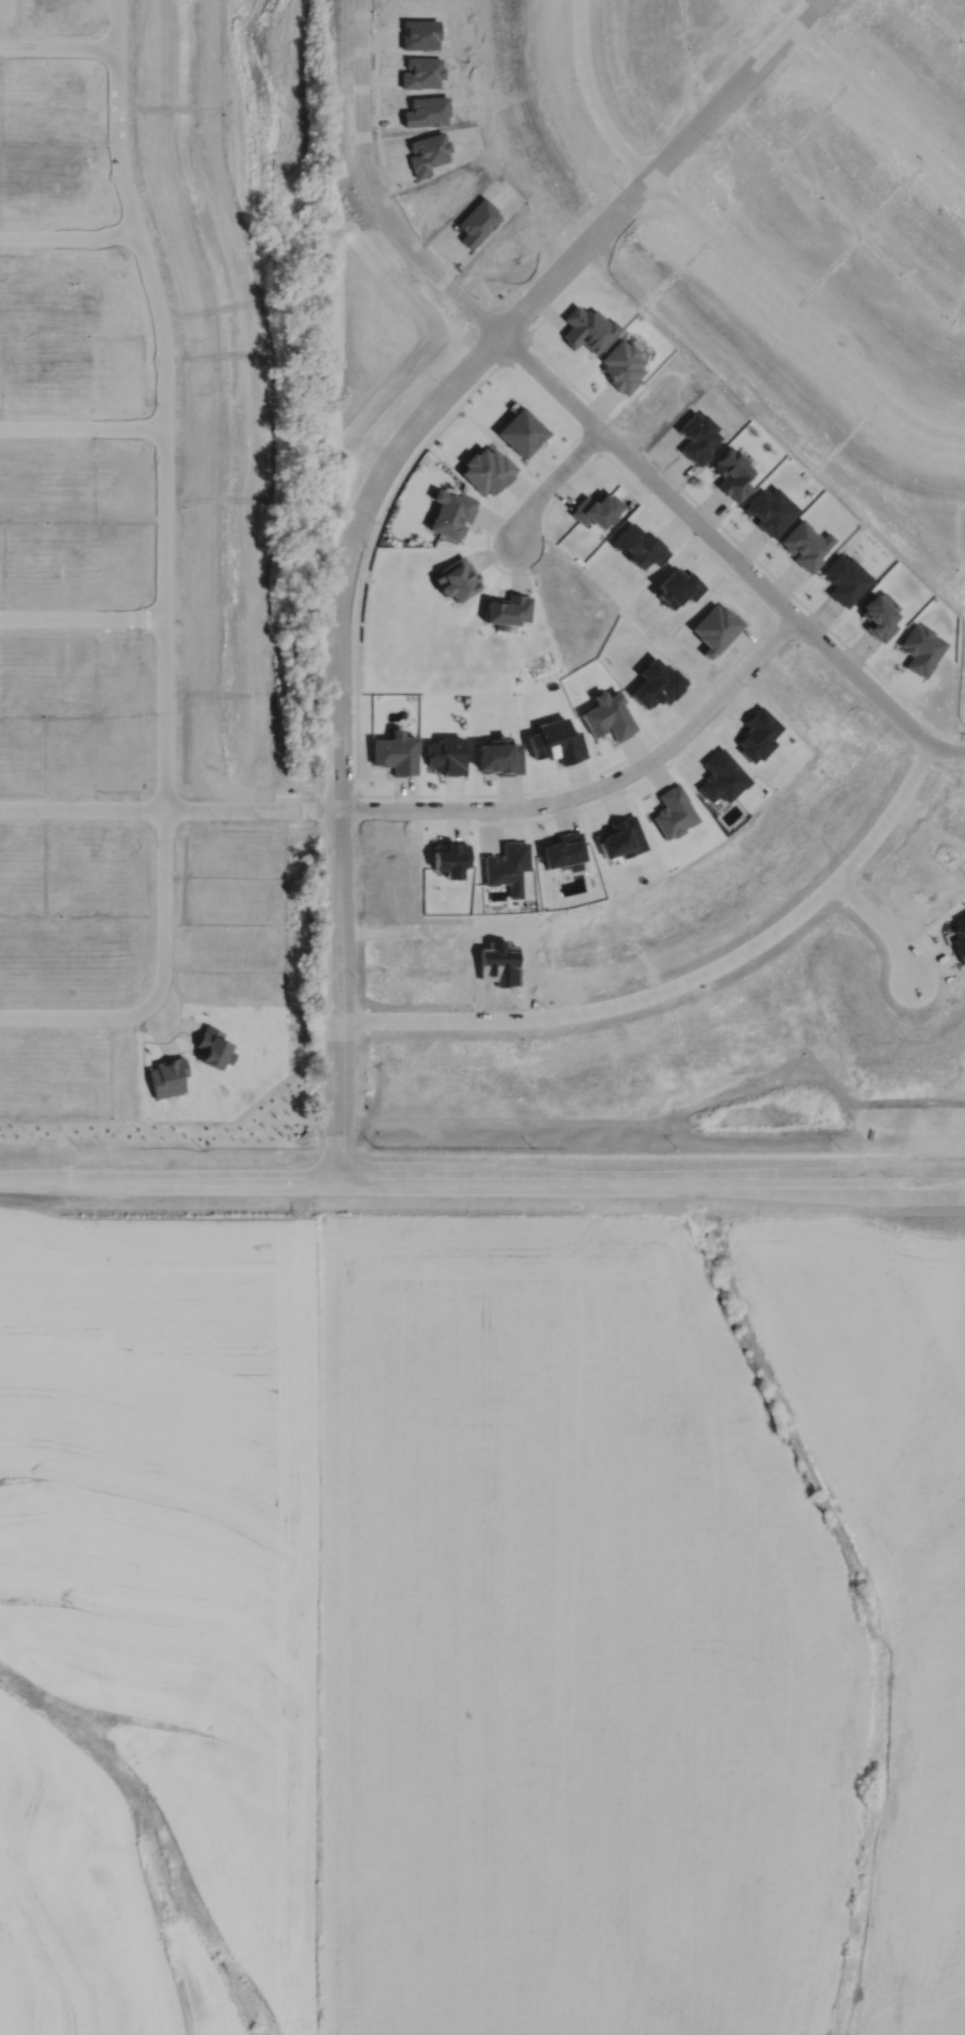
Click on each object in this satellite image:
road: (58, 45)
road: (880, 106)
road: (661, 167)
road: (377, 190)
road: (69, 237)
road: (730, 248)
road: (82, 427)
road: (549, 478)
road: (165, 503)
building: (808, 540)
road: (727, 556)
road: (348, 562)
road: (83, 619)
building: (924, 641)
road: (594, 784)
road: (169, 808)
road: (881, 923)
road: (686, 978)
road: (329, 1010)
road: (350, 1010)
road: (81, 1012)
road: (937, 1153)
road: (430, 1180)
road: (860, 1183)

